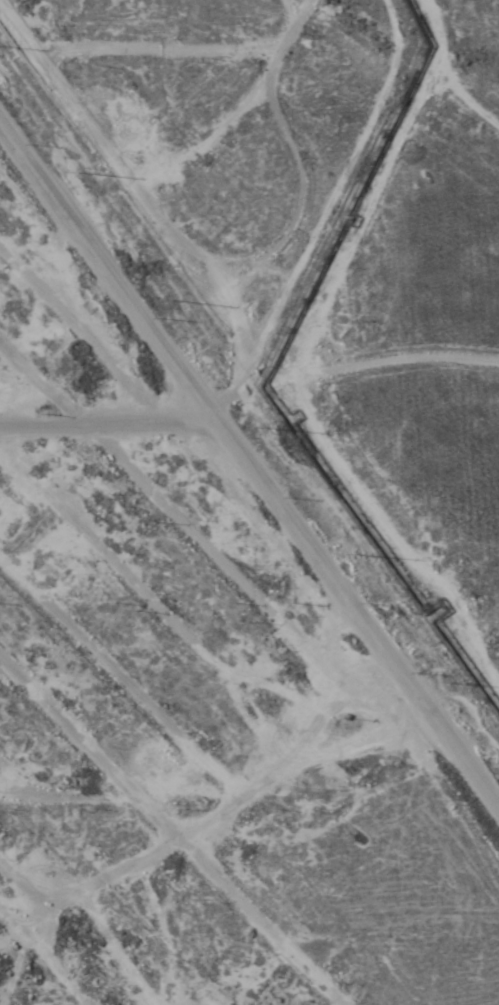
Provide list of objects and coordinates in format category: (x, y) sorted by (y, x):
road: (157, 153)
road: (120, 284)
road: (301, 522)
road: (210, 968)

